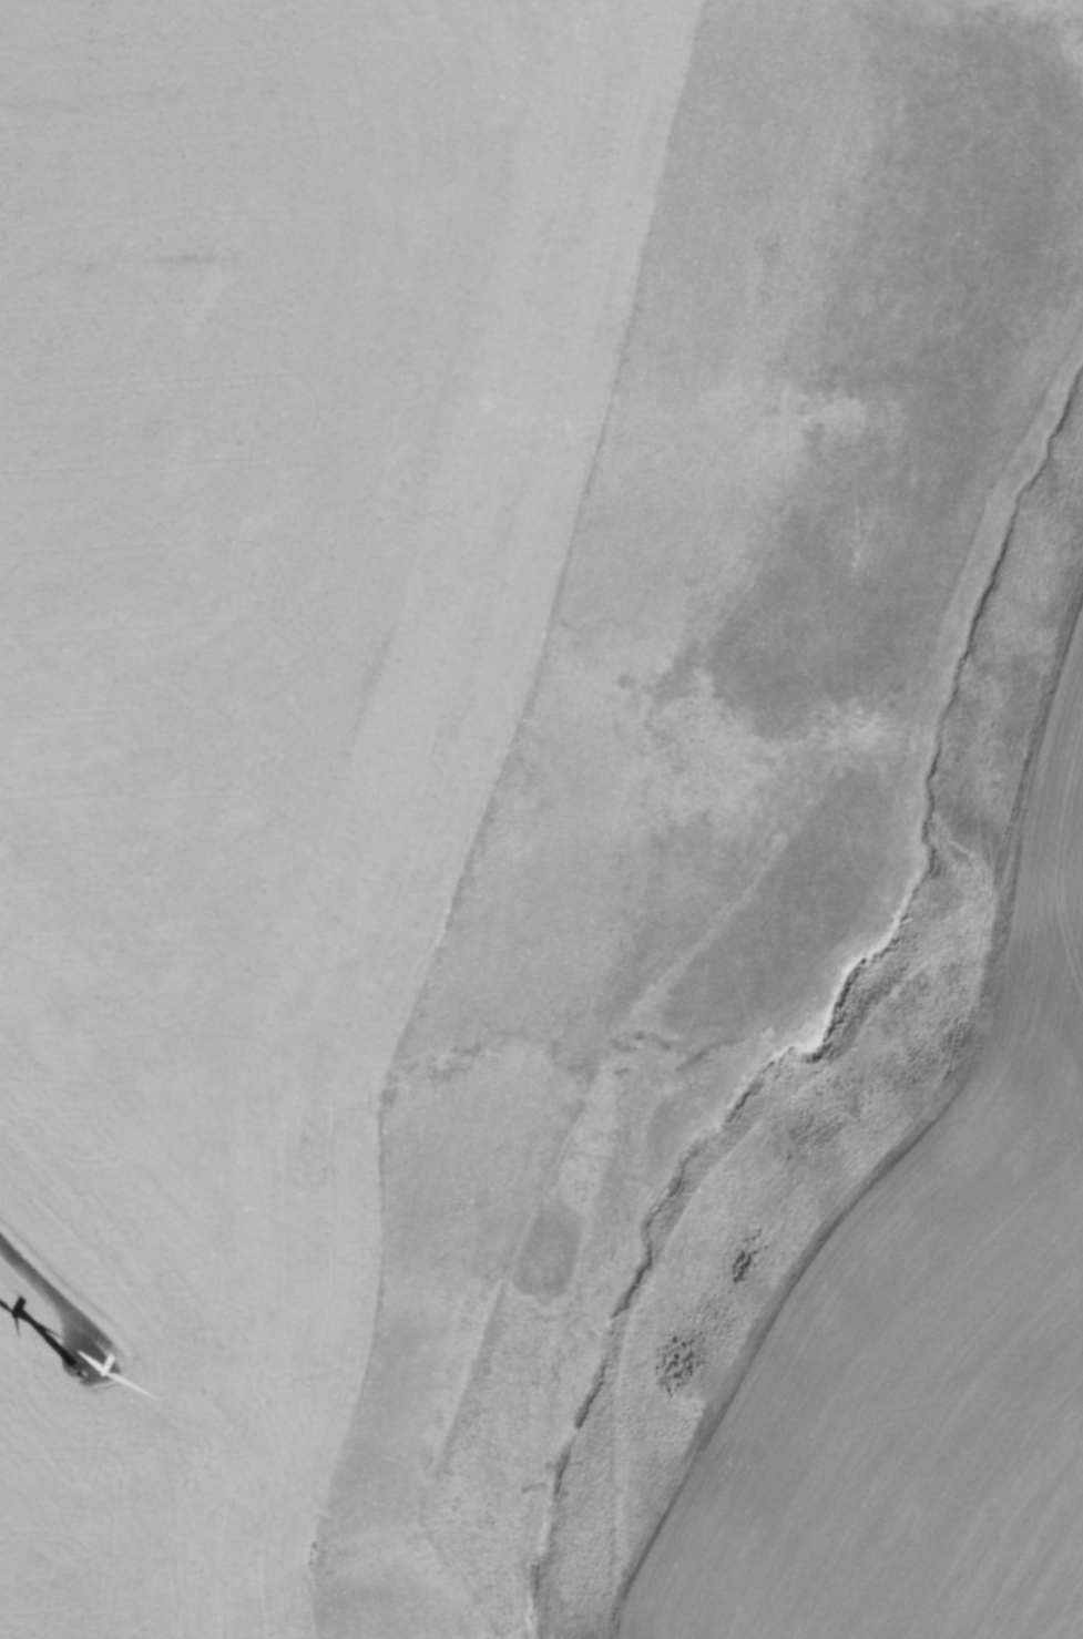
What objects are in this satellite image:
road: (58, 1302)
wind turbine: (89, 1363)

